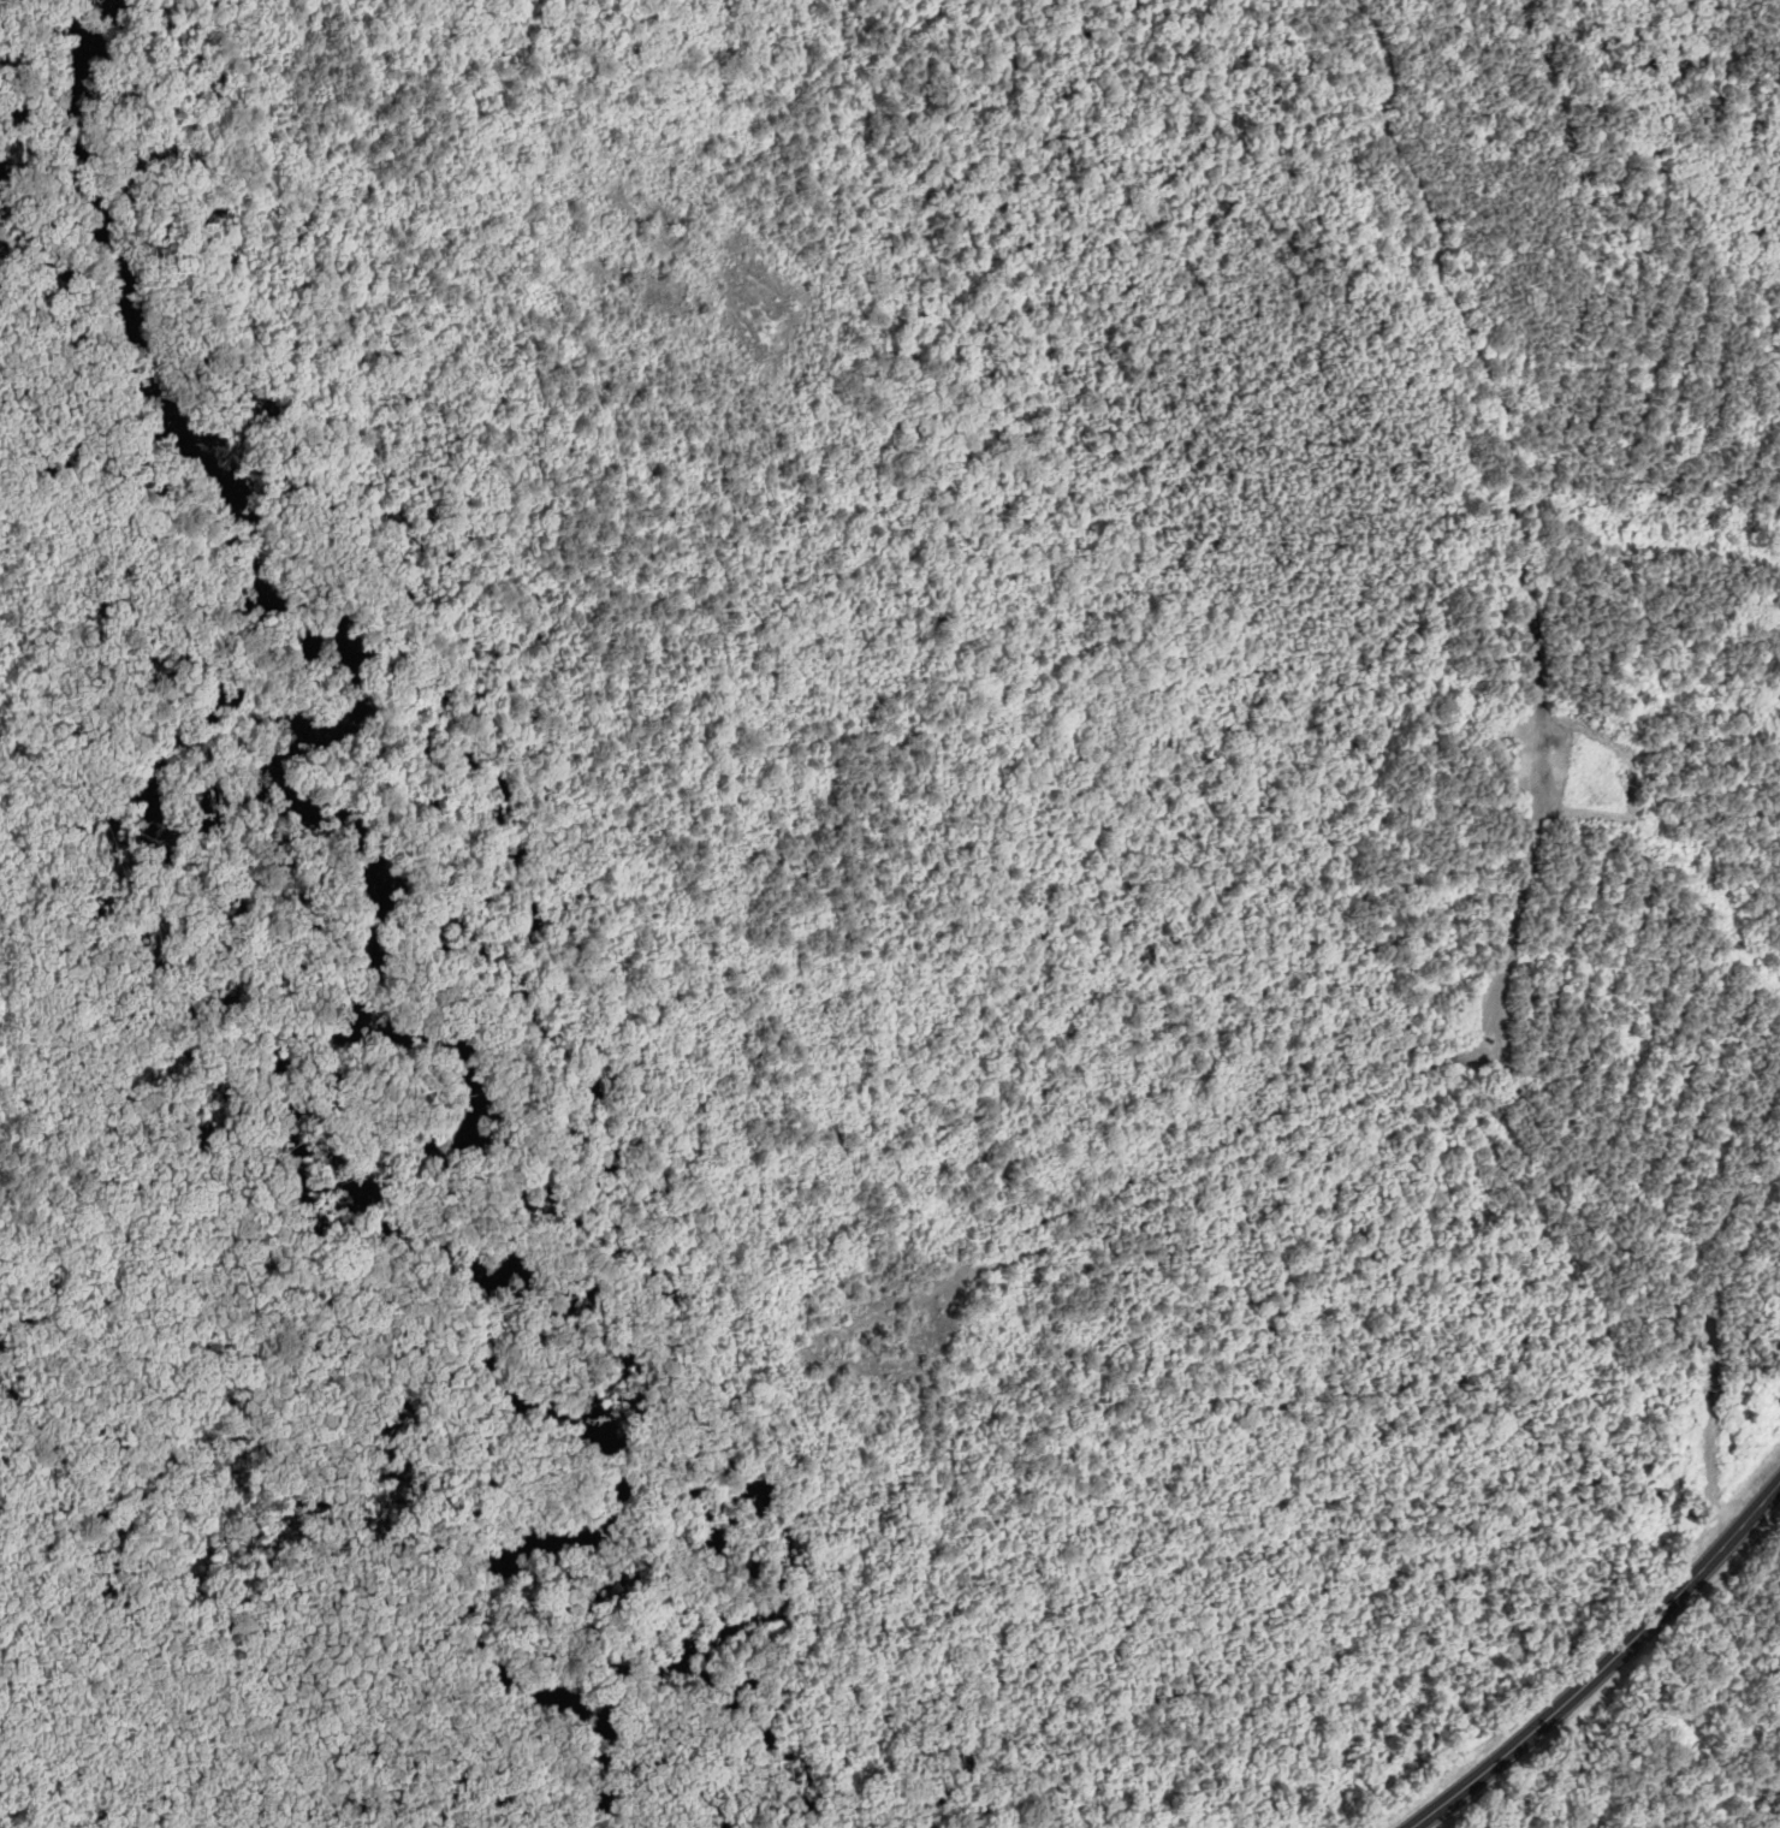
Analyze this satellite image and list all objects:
park: (89, 474)
road: (24, 571)
river: (378, 859)
road: (1604, 1664)

